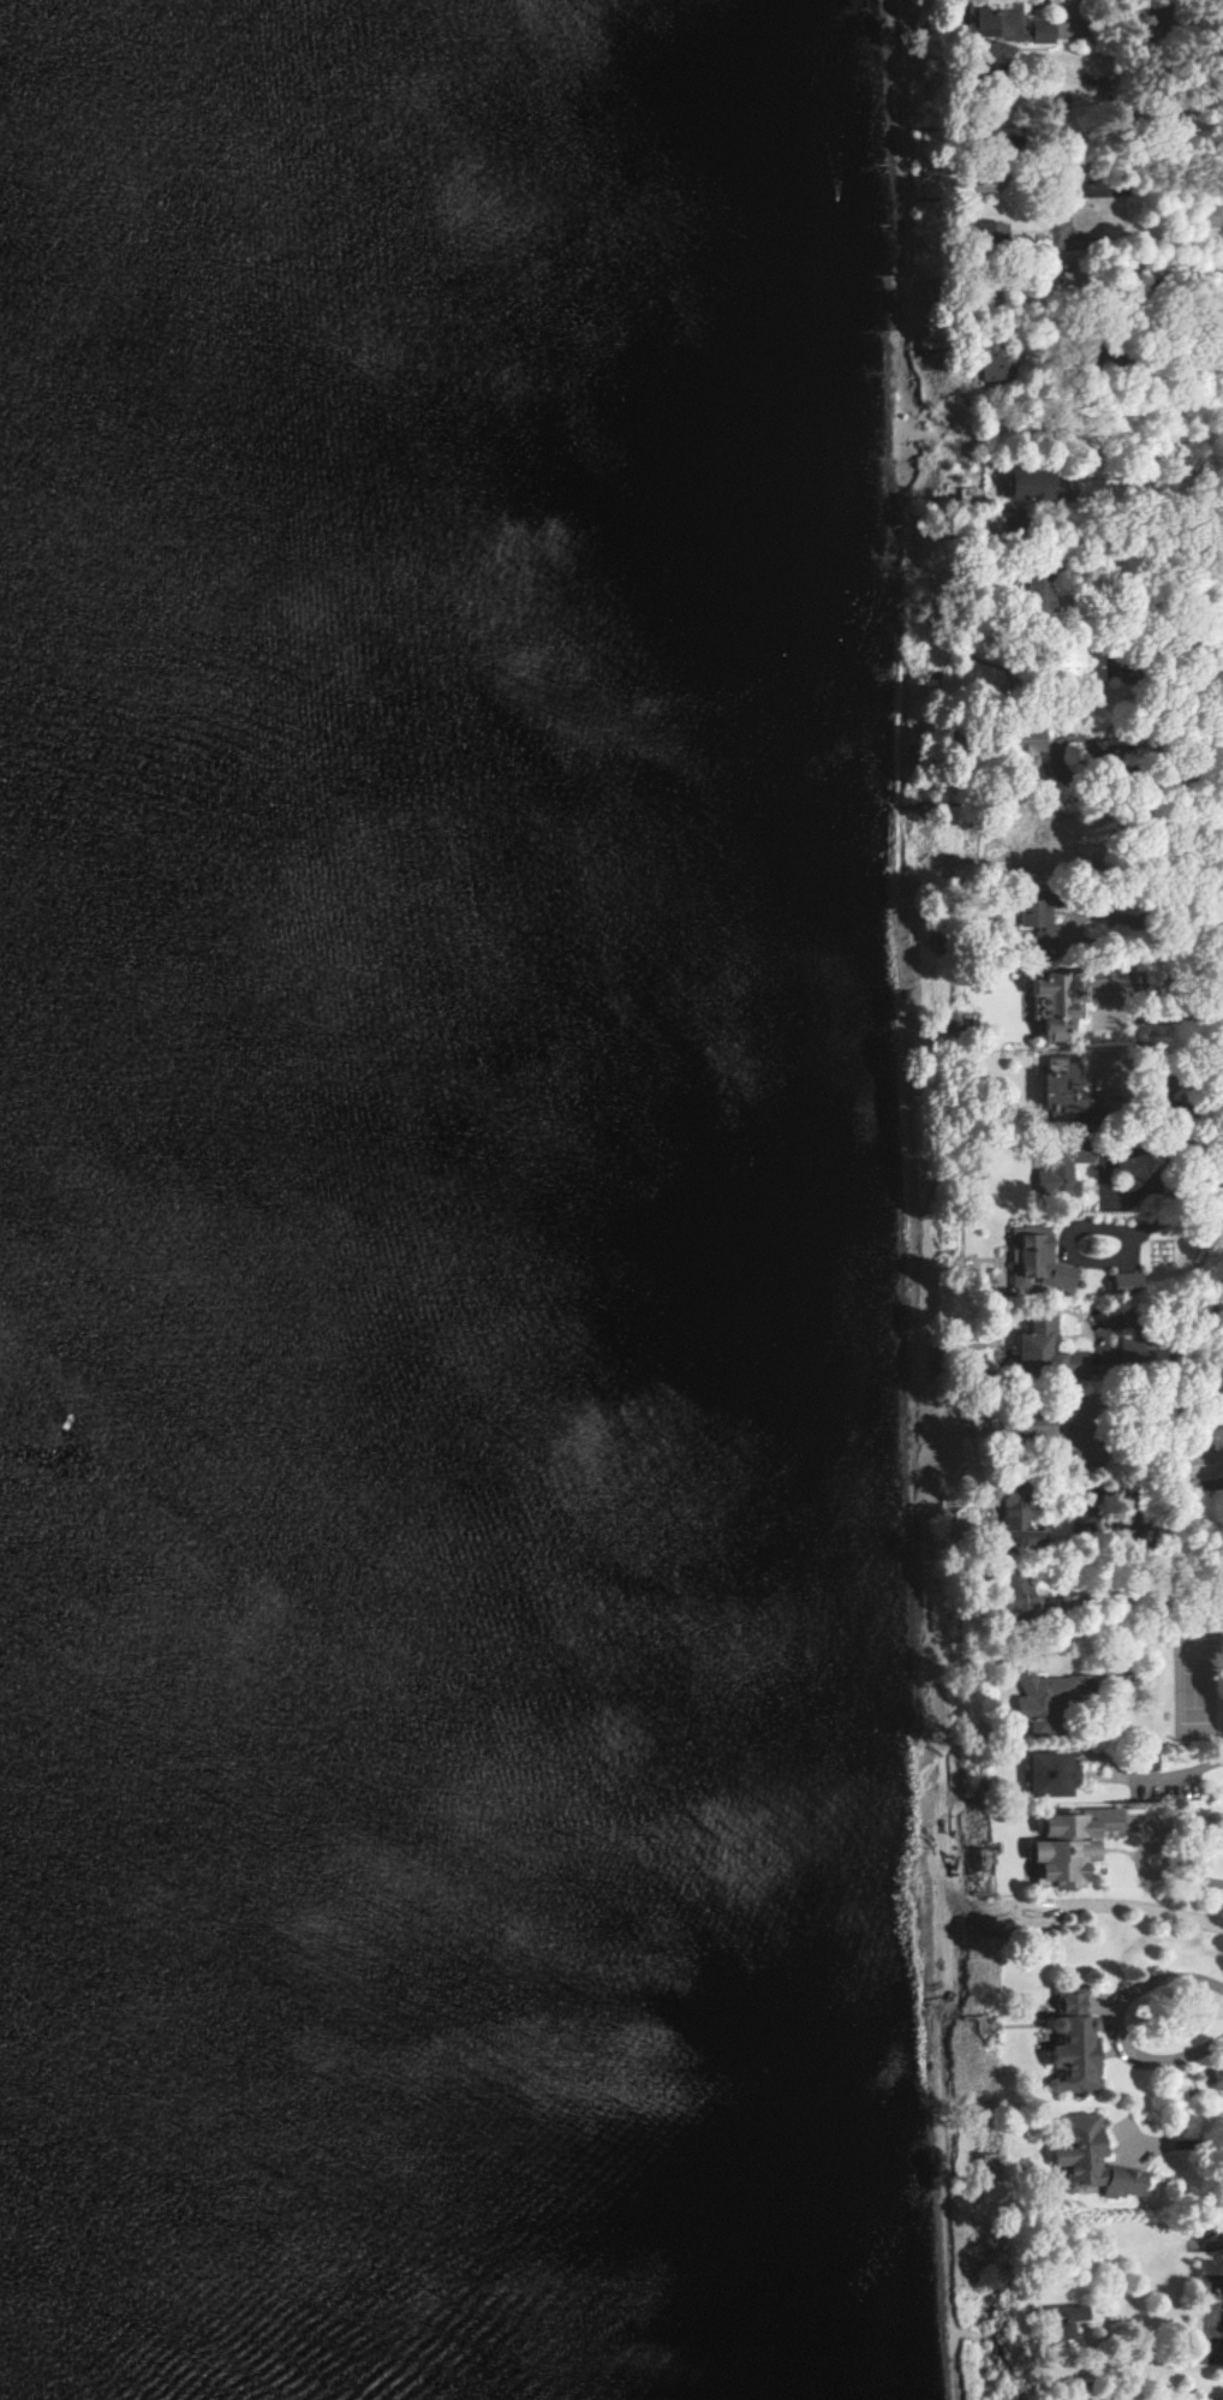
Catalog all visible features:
building: (1012, 26)
building: (1007, 138)
road: (1118, 243)
road: (1130, 361)
building: (992, 362)
road: (1091, 439)
building: (1032, 484)
road: (1155, 596)
building: (1025, 746)
road: (1145, 780)
building: (1036, 918)
road: (1174, 922)
building: (1055, 1002)
road: (1180, 1010)
building: (1063, 1088)
building: (1061, 1173)
road: (1157, 1223)
building: (1038, 1259)
building: (1123, 1284)
road: (1170, 1303)
road: (1155, 1458)
road: (1189, 1487)
building: (1015, 1521)
road: (1173, 1630)
park: (1194, 1690)
building: (1042, 1701)
building: (1052, 1774)
road: (1171, 1777)
building: (1073, 1844)
road: (1187, 1871)
road: (1115, 2024)
building: (1074, 2047)
road: (1175, 2144)
building: (1082, 2149)
building: (1124, 2182)
road: (1177, 2255)
park: (1211, 2321)
building: (1068, 2323)

